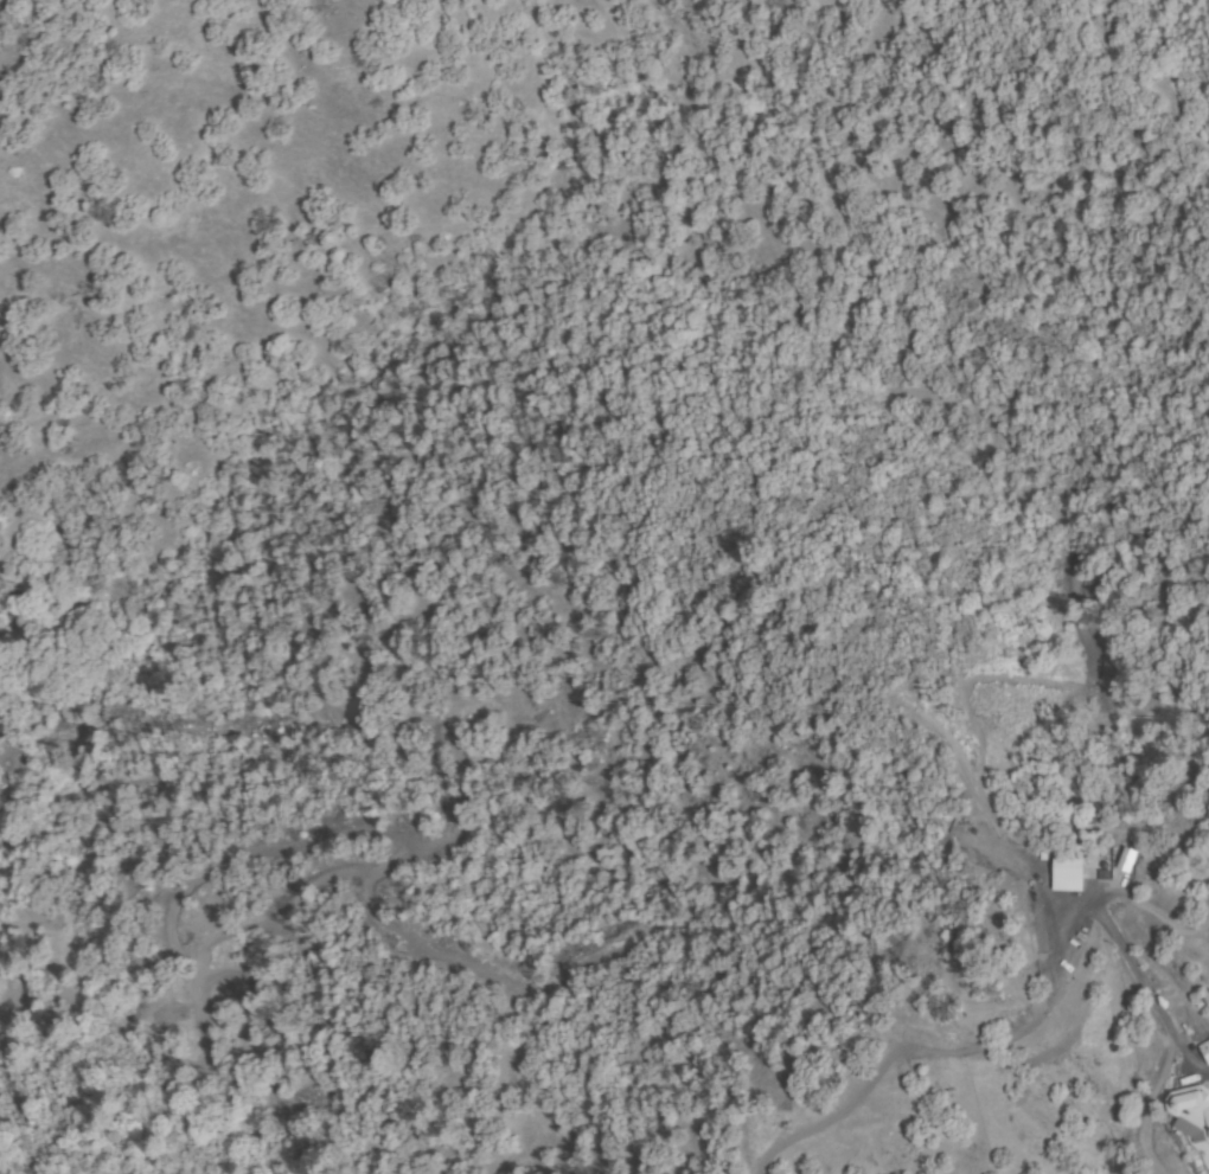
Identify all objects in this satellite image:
building: (1122, 859)
building: (1062, 873)
building: (1066, 913)
building: (1050, 956)
road: (1150, 995)
building: (1207, 1048)
building: (1191, 1105)

